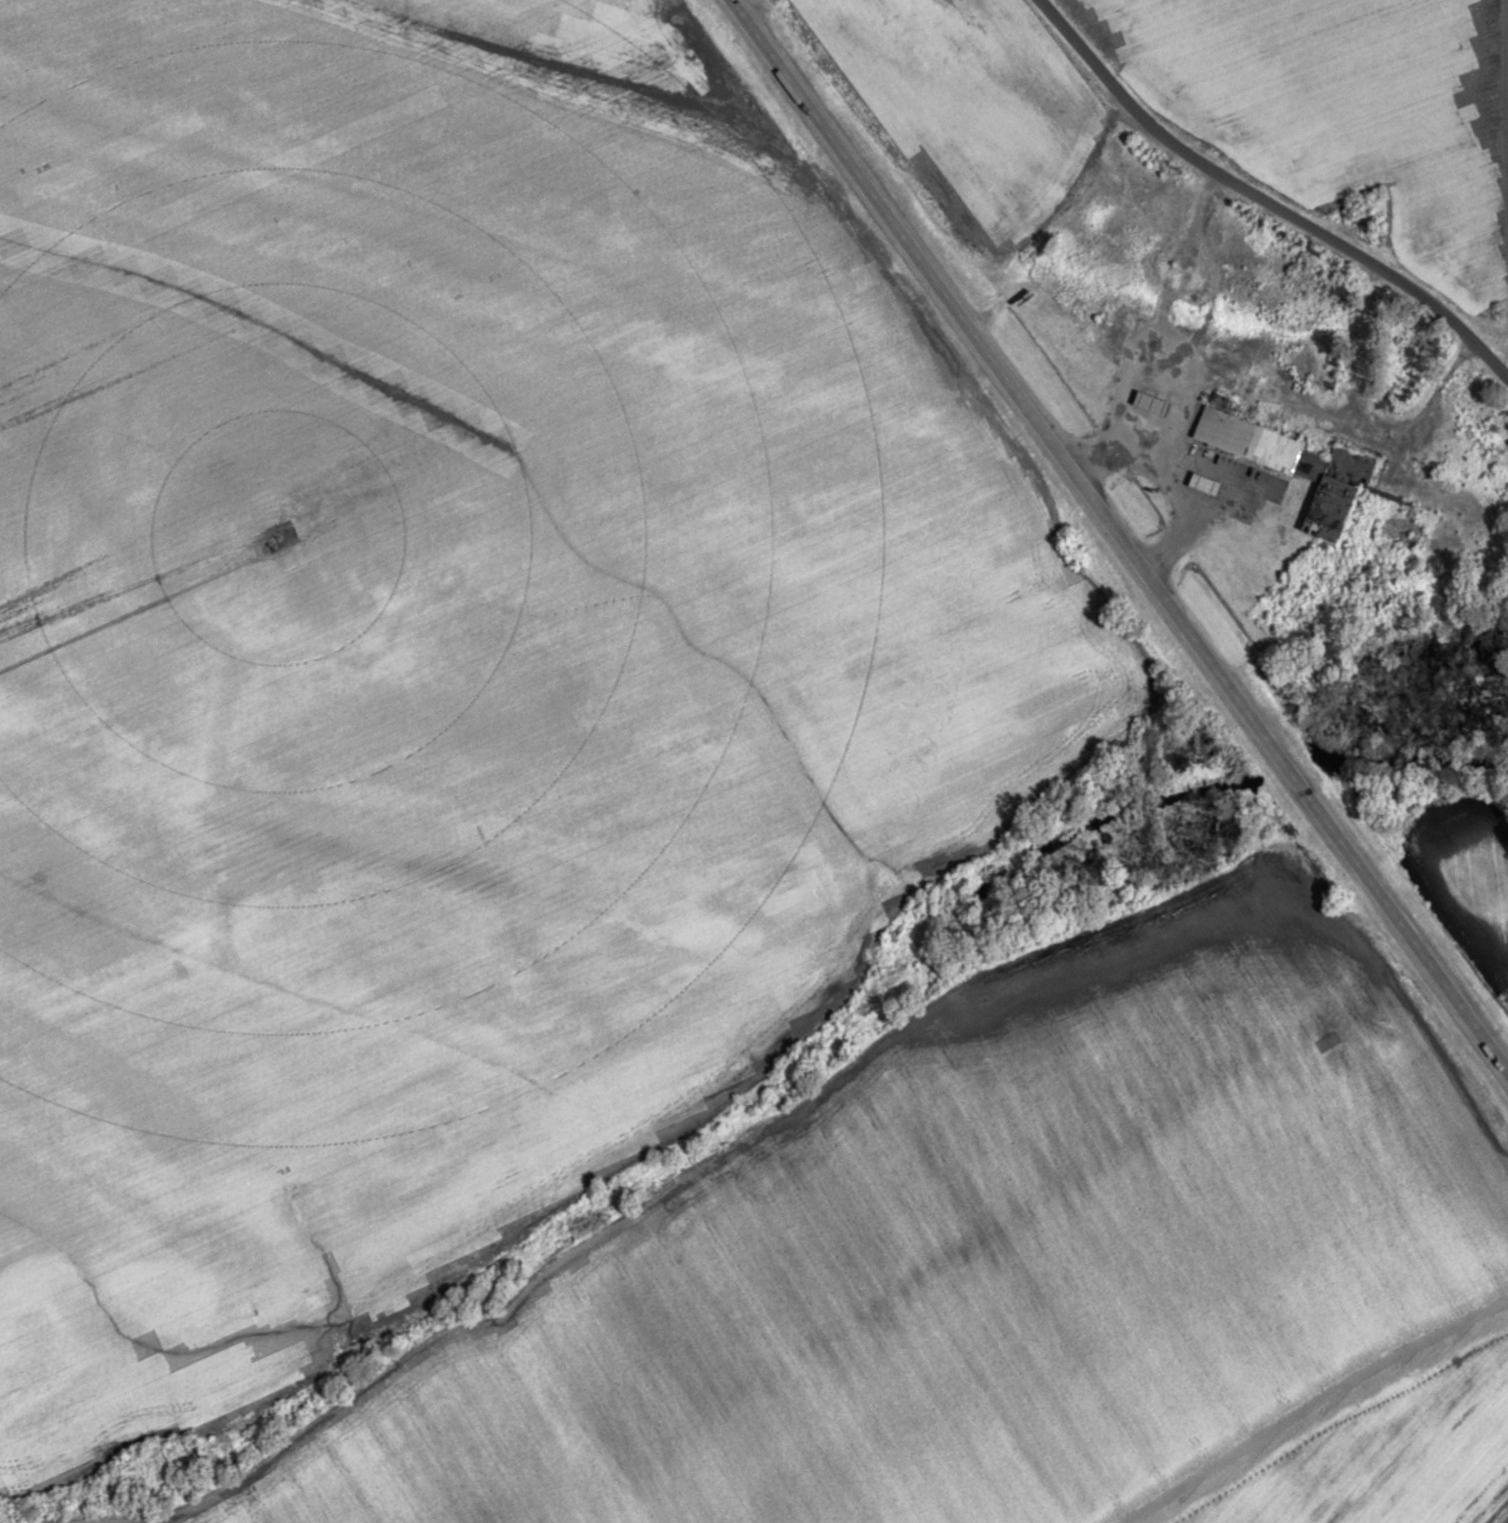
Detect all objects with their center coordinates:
road: (1262, 201)
building: (1365, 221)
road: (1164, 306)
building: (1153, 404)
road: (1358, 419)
road: (1164, 450)
building: (1297, 469)
road: (1179, 482)
building: (1207, 485)
road: (1192, 524)
road: (1120, 535)
road: (1380, 1444)

